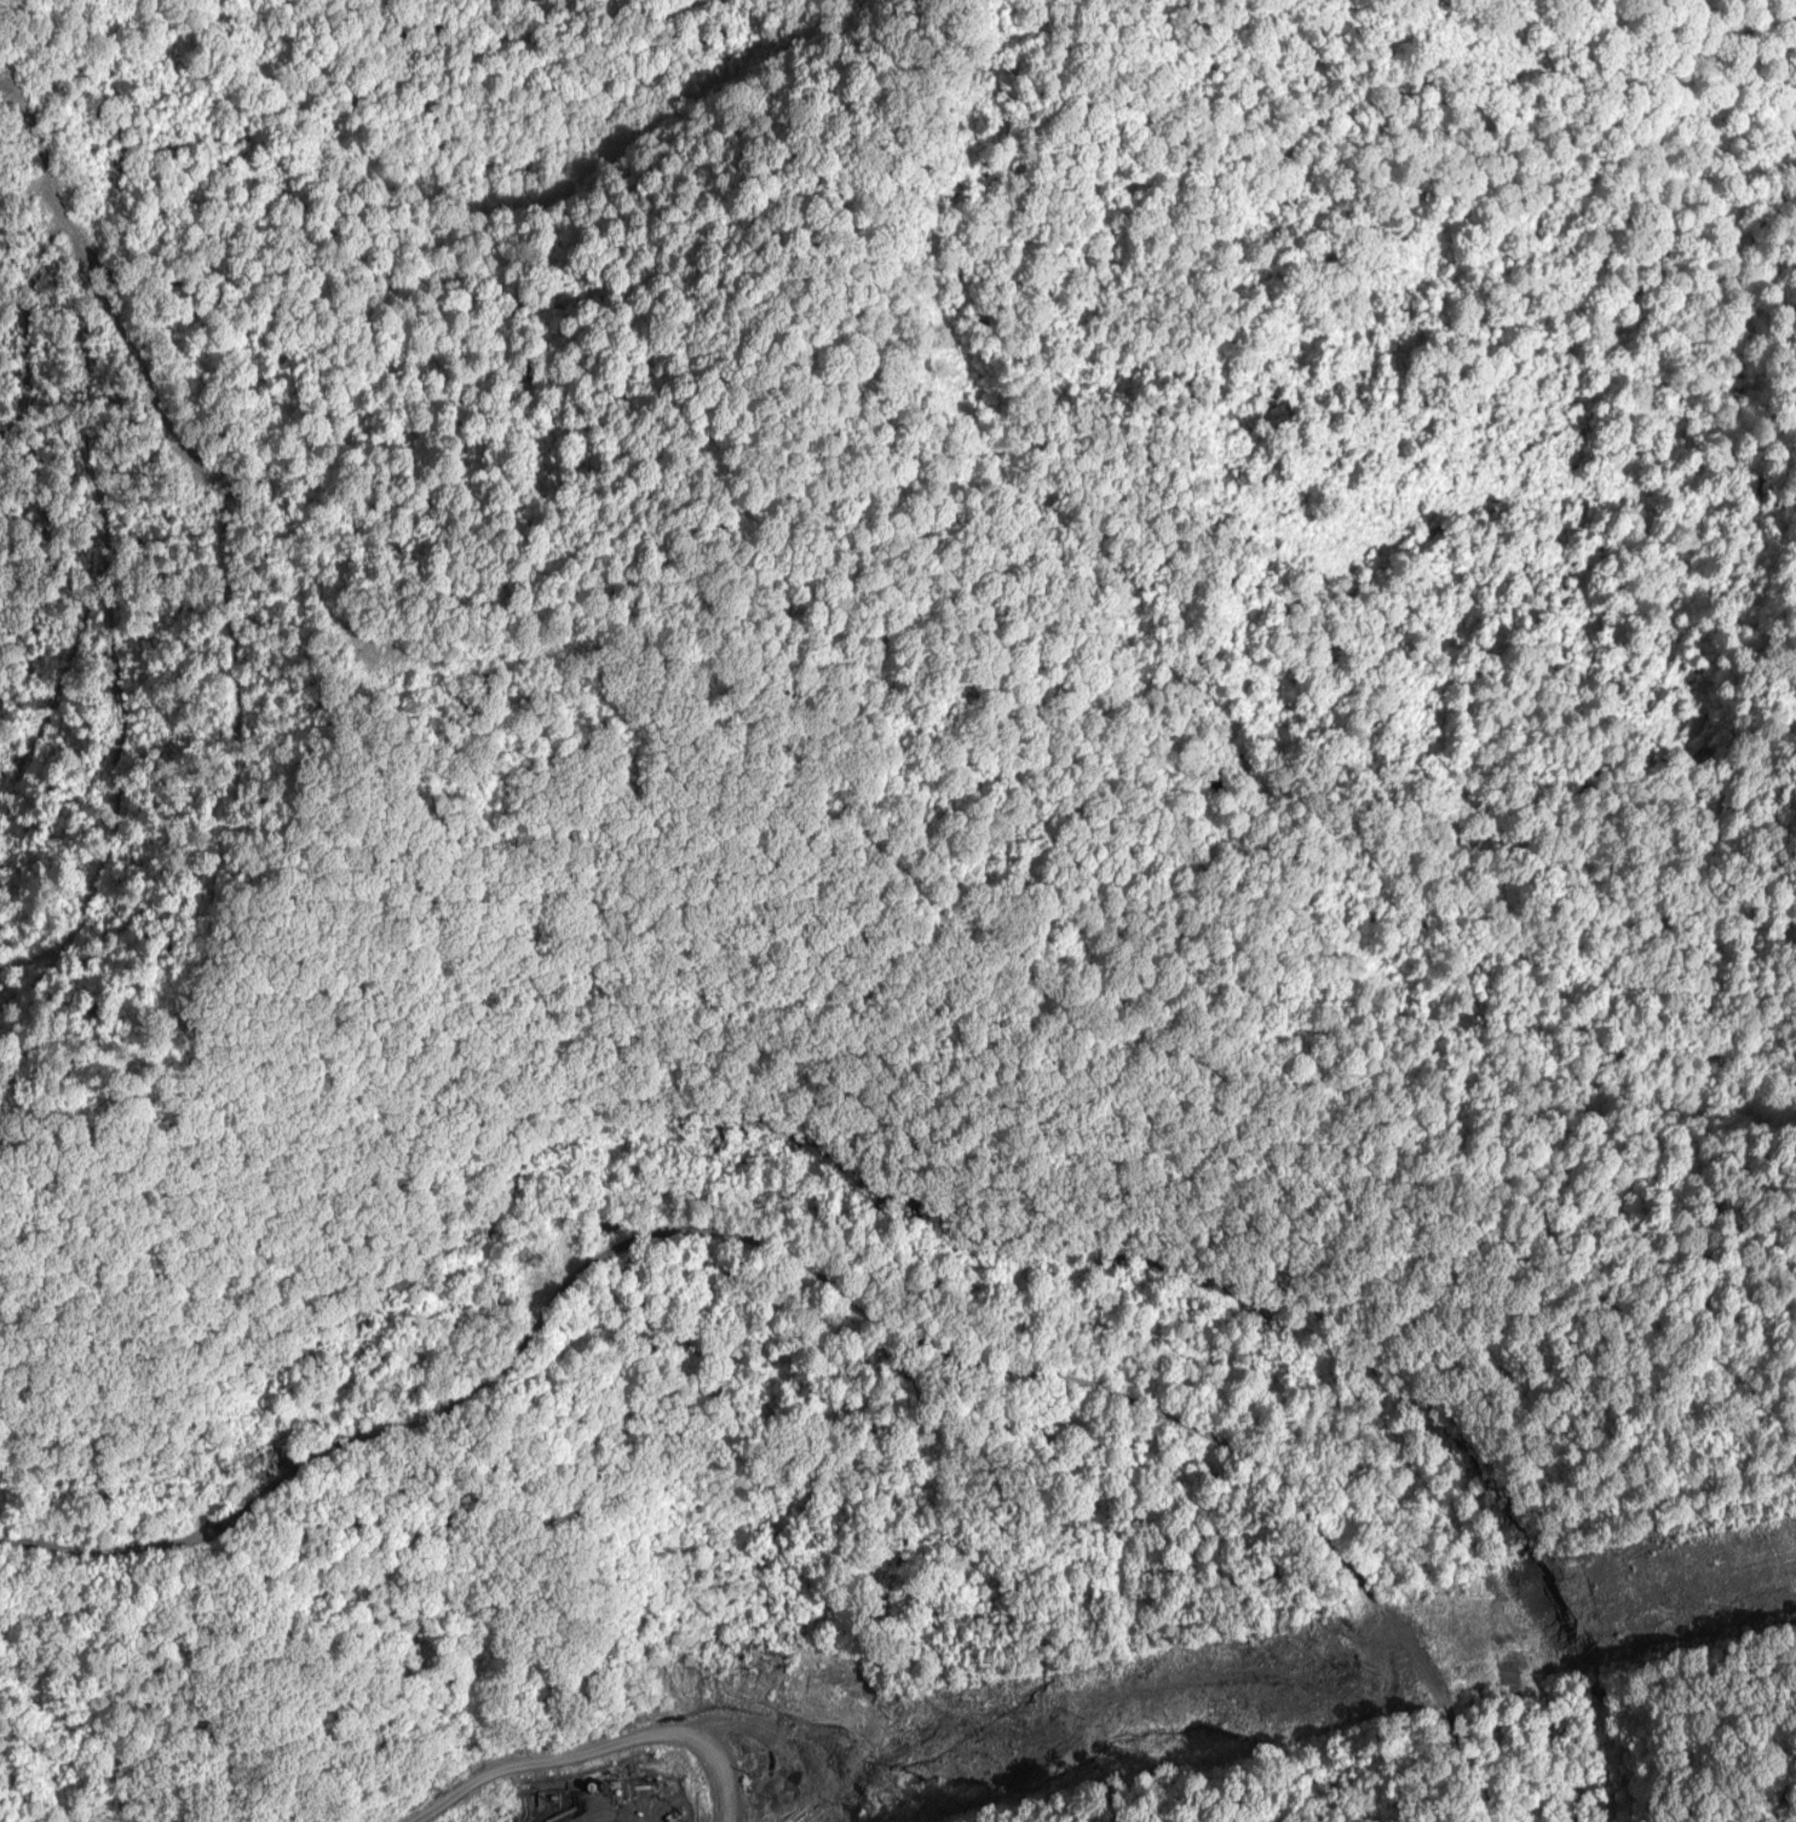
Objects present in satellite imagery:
road: (836, 1251)
road: (583, 1752)
building: (799, 1805)

